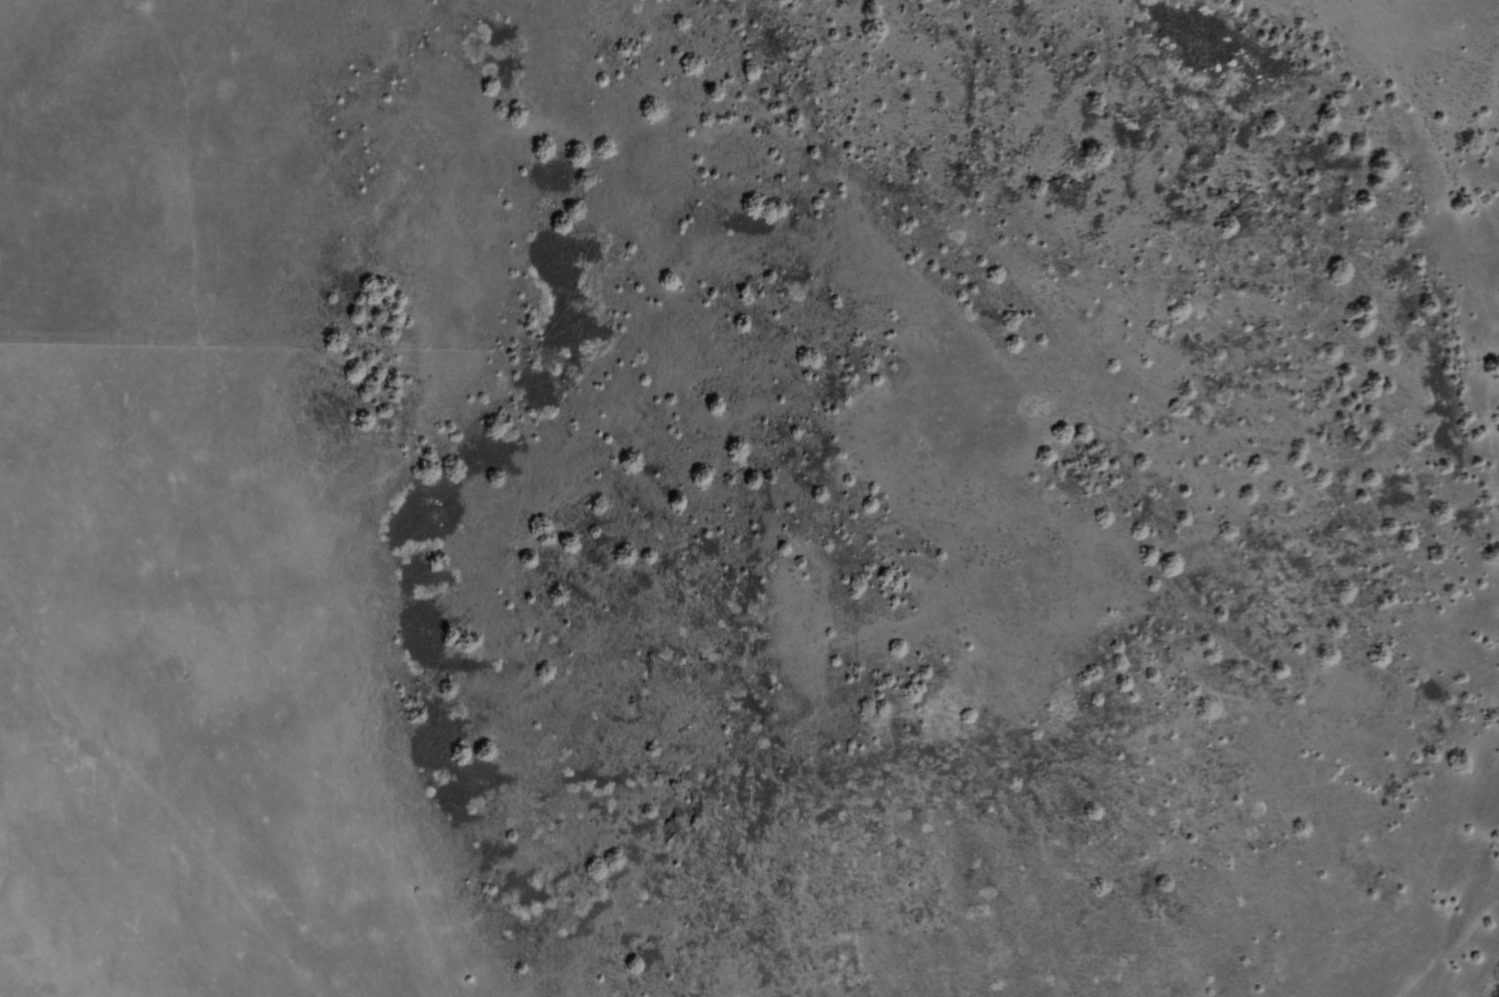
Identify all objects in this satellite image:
road: (1445, 944)

